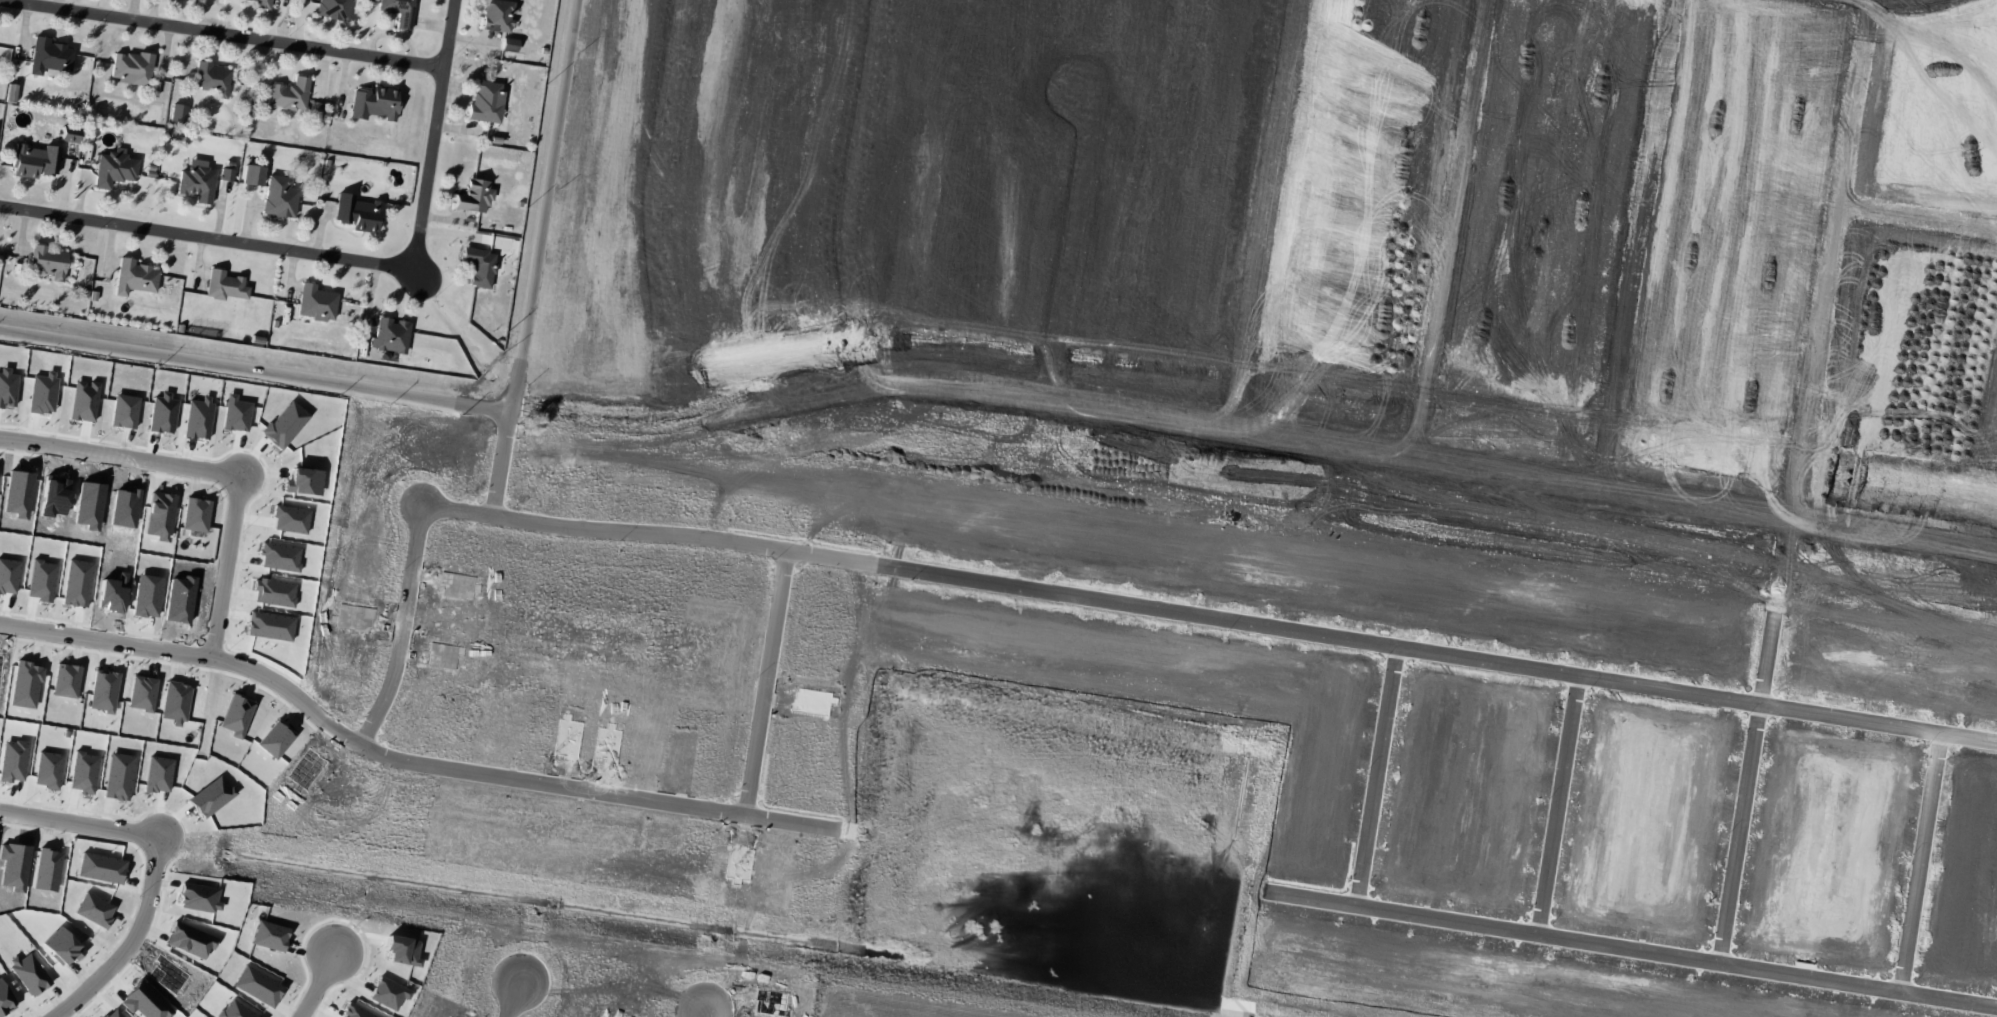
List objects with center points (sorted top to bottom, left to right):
building: (261, 4)
building: (333, 9)
building: (398, 11)
building: (497, 15)
road: (224, 35)
building: (509, 45)
building: (49, 56)
building: (131, 67)
building: (212, 78)
building: (11, 93)
building: (289, 94)
building: (486, 101)
building: (374, 103)
building: (178, 113)
building: (68, 134)
building: (34, 161)
building: (114, 168)
building: (225, 174)
building: (196, 183)
building: (473, 196)
building: (279, 197)
building: (358, 213)
road: (345, 261)
building: (48, 262)
building: (479, 266)
building: (134, 277)
building: (224, 285)
building: (315, 303)
building: (390, 335)
road: (451, 403)
road: (507, 452)
road: (123, 456)
road: (233, 568)
road: (1213, 620)
road: (409, 623)
road: (772, 677)
road: (406, 753)
road: (1375, 777)
road: (1743, 788)
road: (1556, 806)
road: (81, 822)
road: (1918, 863)
building: (260, 936)
road: (139, 941)
building: (401, 944)
road: (1630, 949)
road: (325, 985)
building: (390, 988)
building: (257, 996)
road: (517, 996)
road: (710, 1009)
building: (342, 1015)

